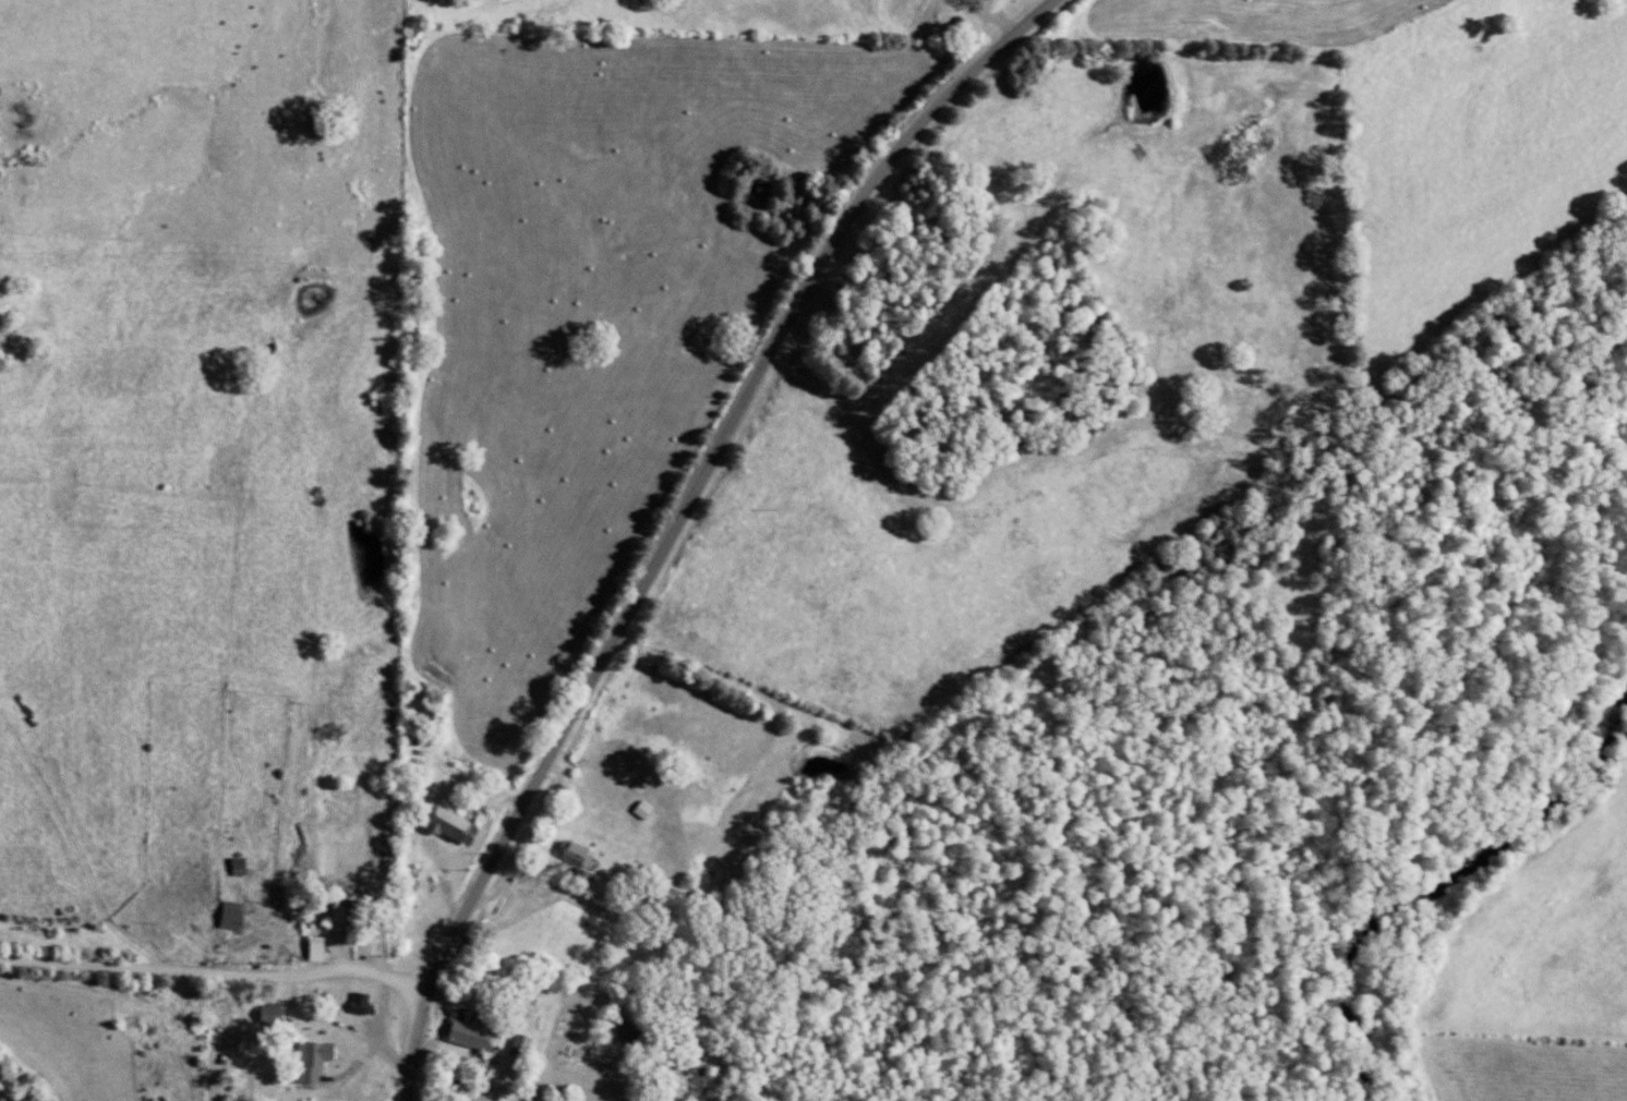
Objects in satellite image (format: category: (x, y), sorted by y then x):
road: (993, 19)
road: (678, 521)
building: (449, 820)
building: (583, 852)
building: (347, 912)
building: (238, 914)
building: (322, 947)
road: (212, 973)
road: (299, 1013)
building: (480, 1035)
road: (430, 1049)
building: (317, 1058)

